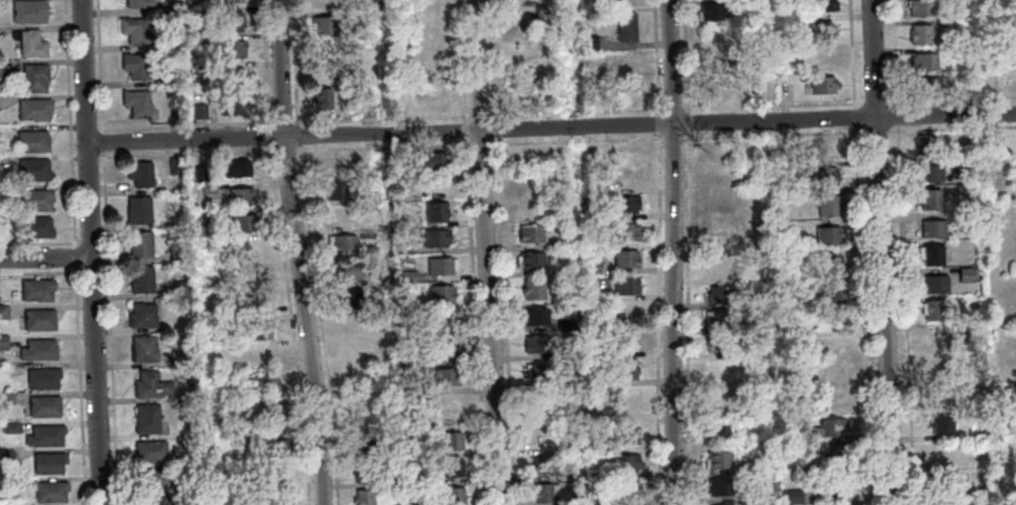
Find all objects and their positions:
building: (230, 0)
building: (782, 2)
building: (141, 3)
building: (323, 4)
building: (750, 5)
building: (824, 5)
building: (920, 8)
building: (558, 9)
building: (30, 11)
building: (169, 11)
building: (712, 12)
building: (202, 14)
building: (984, 15)
building: (519, 17)
building: (236, 20)
building: (321, 26)
building: (626, 26)
building: (1009, 29)
building: (136, 30)
building: (822, 30)
building: (922, 33)
building: (752, 34)
building: (203, 37)
building: (589, 41)
building: (32, 43)
building: (169, 43)
building: (236, 48)
road: (894, 51)
road: (852, 53)
road: (684, 55)
road: (655, 56)
building: (825, 57)
road: (460, 59)
road: (490, 59)
building: (724, 59)
road: (265, 60)
building: (626, 60)
building: (923, 61)
road: (100, 65)
building: (135, 65)
building: (199, 68)
building: (588, 69)
road: (294, 72)
building: (171, 73)
building: (237, 76)
building: (36, 77)
building: (824, 84)
building: (923, 85)
building: (324, 98)
road: (952, 98)
road: (876, 99)
building: (139, 102)
road: (294, 103)
road: (772, 103)
road: (269, 104)
road: (282, 104)
building: (234, 105)
road: (672, 107)
building: (35, 109)
building: (200, 110)
road: (578, 110)
road: (477, 113)
road: (489, 113)
road: (897, 114)
road: (382, 115)
road: (854, 115)
road: (686, 121)
road: (267, 122)
road: (658, 122)
road: (183, 123)
road: (91, 127)
road: (493, 127)
road: (952, 127)
road: (70, 129)
road: (550, 129)
road: (877, 130)
road: (773, 132)
road: (266, 134)
road: (674, 136)
road: (576, 138)
road: (103, 139)
building: (34, 140)
road: (479, 142)
road: (383, 144)
building: (923, 144)
building: (825, 146)
road: (183, 152)
road: (92, 156)
road: (271, 158)
road: (284, 158)
road: (297, 158)
building: (393, 160)
building: (429, 160)
building: (962, 162)
building: (334, 164)
building: (173, 165)
building: (234, 167)
building: (34, 168)
building: (138, 172)
building: (198, 173)
building: (926, 173)
building: (719, 176)
building: (822, 176)
building: (963, 178)
building: (207, 187)
building: (333, 189)
building: (962, 189)
building: (239, 196)
building: (369, 197)
building: (722, 197)
building: (928, 198)
building: (37, 199)
building: (623, 203)
building: (827, 204)
building: (529, 205)
building: (137, 209)
building: (433, 211)
building: (974, 213)
building: (203, 216)
building: (340, 216)
building: (720, 221)
building: (242, 222)
building: (39, 226)
building: (2, 228)
building: (931, 228)
building: (623, 231)
building: (529, 232)
building: (973, 233)
building: (825, 234)
building: (433, 238)
building: (560, 239)
road: (41, 241)
road: (84, 241)
building: (138, 243)
building: (342, 243)
park: (999, 243)
building: (722, 245)
building: (252, 248)
building: (402, 248)
road: (3, 249)
road: (90, 252)
road: (298, 252)
road: (484, 252)
road: (672, 252)
road: (880, 252)
building: (931, 255)
building: (623, 258)
road: (45, 259)
building: (530, 260)
building: (974, 260)
road: (74, 263)
building: (828, 263)
building: (437, 266)
building: (591, 266)
building: (346, 269)
building: (721, 271)
building: (965, 274)
building: (406, 275)
building: (253, 277)
building: (140, 278)
building: (799, 283)
building: (934, 283)
building: (624, 285)
building: (179, 287)
building: (34, 289)
building: (531, 289)
building: (440, 293)
building: (828, 293)
building: (718, 295)
building: (350, 297)
building: (256, 300)
building: (757, 300)
building: (932, 309)
building: (2, 311)
road: (474, 312)
building: (627, 312)
building: (141, 314)
road: (861, 314)
road: (903, 314)
building: (534, 315)
building: (37, 318)
road: (661, 318)
road: (686, 318)
building: (717, 318)
road: (504, 319)
road: (290, 324)
road: (321, 324)
building: (352, 324)
building: (564, 324)
road: (110, 327)
building: (258, 329)
building: (940, 338)
building: (622, 340)
building: (2, 342)
building: (535, 343)
building: (716, 343)
building: (833, 343)
building: (142, 347)
building: (443, 348)
building: (36, 349)
building: (356, 350)
building: (566, 352)
building: (265, 356)
building: (178, 358)
building: (413, 358)
building: (718, 366)
building: (835, 367)
building: (939, 367)
building: (623, 368)
building: (537, 373)
building: (443, 376)
building: (41, 378)
building: (360, 379)
building: (148, 383)
building: (262, 383)
road: (77, 386)
building: (419, 387)
building: (1012, 388)
building: (835, 395)
building: (938, 395)
building: (5, 396)
building: (721, 398)
building: (630, 402)
building: (42, 405)
building: (547, 405)
building: (451, 406)
building: (268, 412)
building: (145, 418)
building: (1013, 418)
building: (938, 423)
building: (9, 426)
building: (831, 426)
building: (717, 431)
building: (626, 434)
building: (45, 435)
building: (450, 440)
building: (365, 445)
building: (235, 446)
building: (275, 447)
building: (399, 448)
building: (148, 450)
building: (1014, 451)
building: (942, 452)
building: (833, 453)
building: (5, 456)
building: (717, 458)
building: (184, 459)
building: (47, 461)
building: (625, 462)
building: (546, 464)
building: (451, 468)
building: (362, 471)
building: (277, 474)
building: (152, 477)
building: (945, 480)
building: (10, 482)
building: (831, 484)
building: (718, 486)
building: (184, 487)
building: (628, 490)
building: (765, 490)
building: (48, 491)
building: (542, 492)
building: (452, 495)
building: (363, 496)
building: (790, 496)
building: (151, 500)
building: (275, 500)
building: (575, 500)
building: (943, 503)
building: (10, 504)
building: (398, 504)

